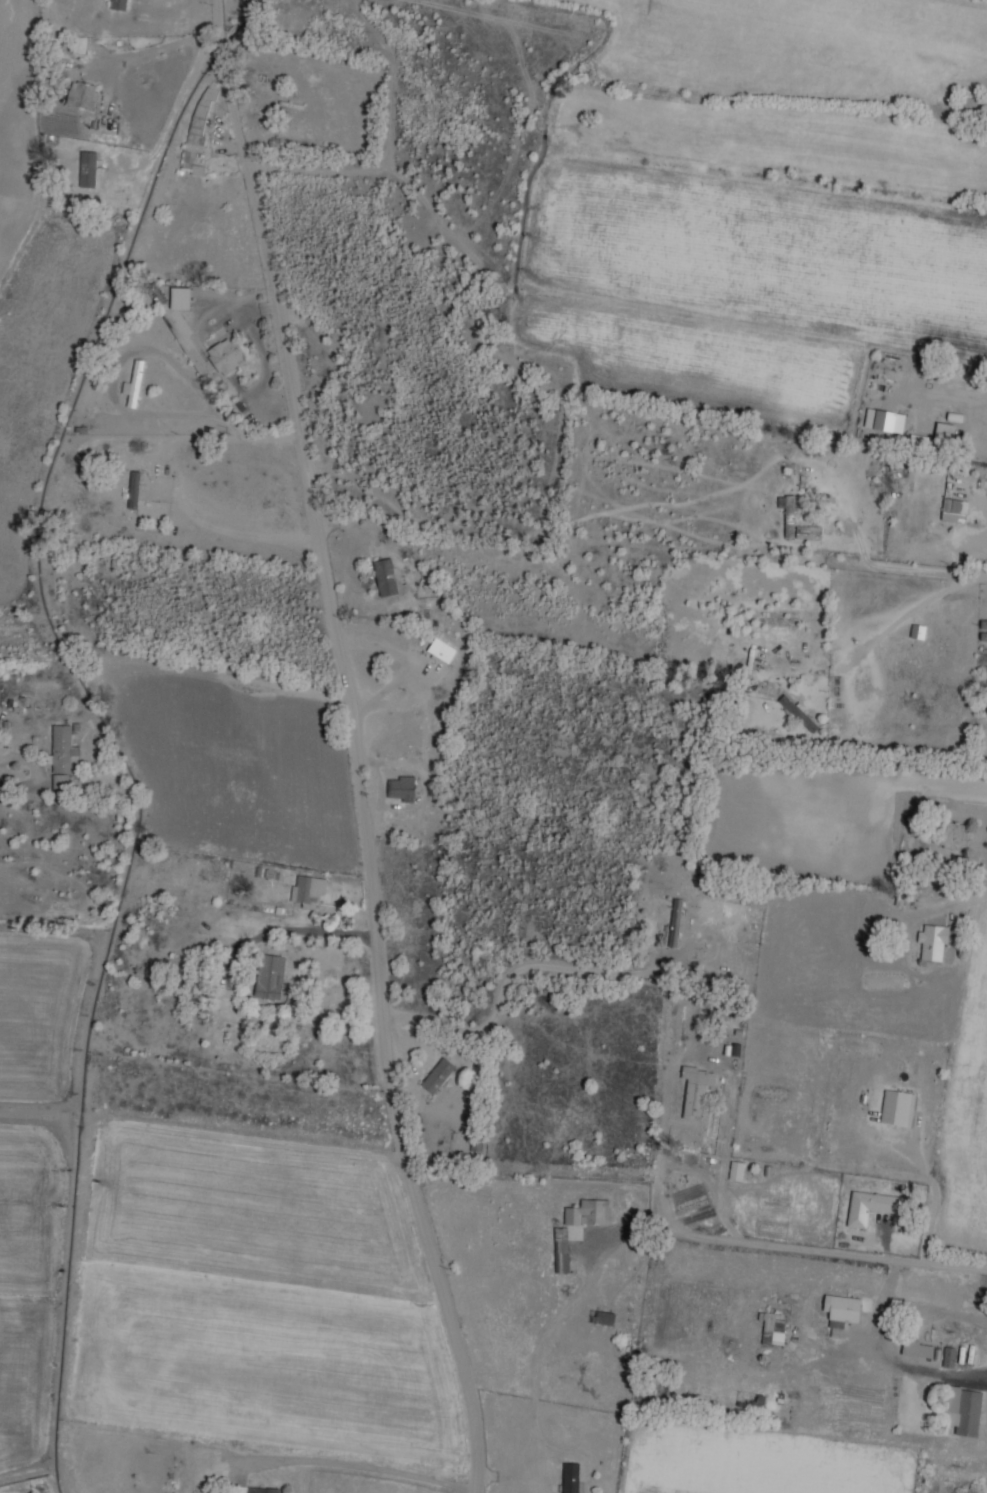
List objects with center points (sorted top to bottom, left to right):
building: (118, 4)
building: (82, 94)
building: (198, 129)
building: (88, 169)
building: (181, 298)
building: (225, 355)
building: (134, 384)
building: (889, 421)
building: (936, 436)
building: (134, 489)
building: (954, 510)
building: (787, 513)
building: (807, 532)
road: (894, 568)
building: (386, 577)
road: (910, 611)
building: (983, 623)
building: (918, 631)
building: (442, 650)
road: (356, 745)
building: (62, 755)
building: (402, 788)
road: (985, 824)
building: (952, 835)
building: (308, 890)
road: (966, 901)
building: (675, 922)
building: (933, 941)
building: (270, 976)
road: (508, 977)
building: (438, 1075)
building: (695, 1091)
building: (897, 1107)
building: (736, 1170)
building: (868, 1207)
building: (588, 1212)
road: (673, 1231)
building: (561, 1239)
road: (935, 1307)
building: (841, 1312)
building: (603, 1318)
building: (772, 1329)
building: (920, 1349)
road: (889, 1354)
building: (949, 1356)
road: (474, 1393)
building: (964, 1410)
building: (570, 1477)
building: (256, 1490)

